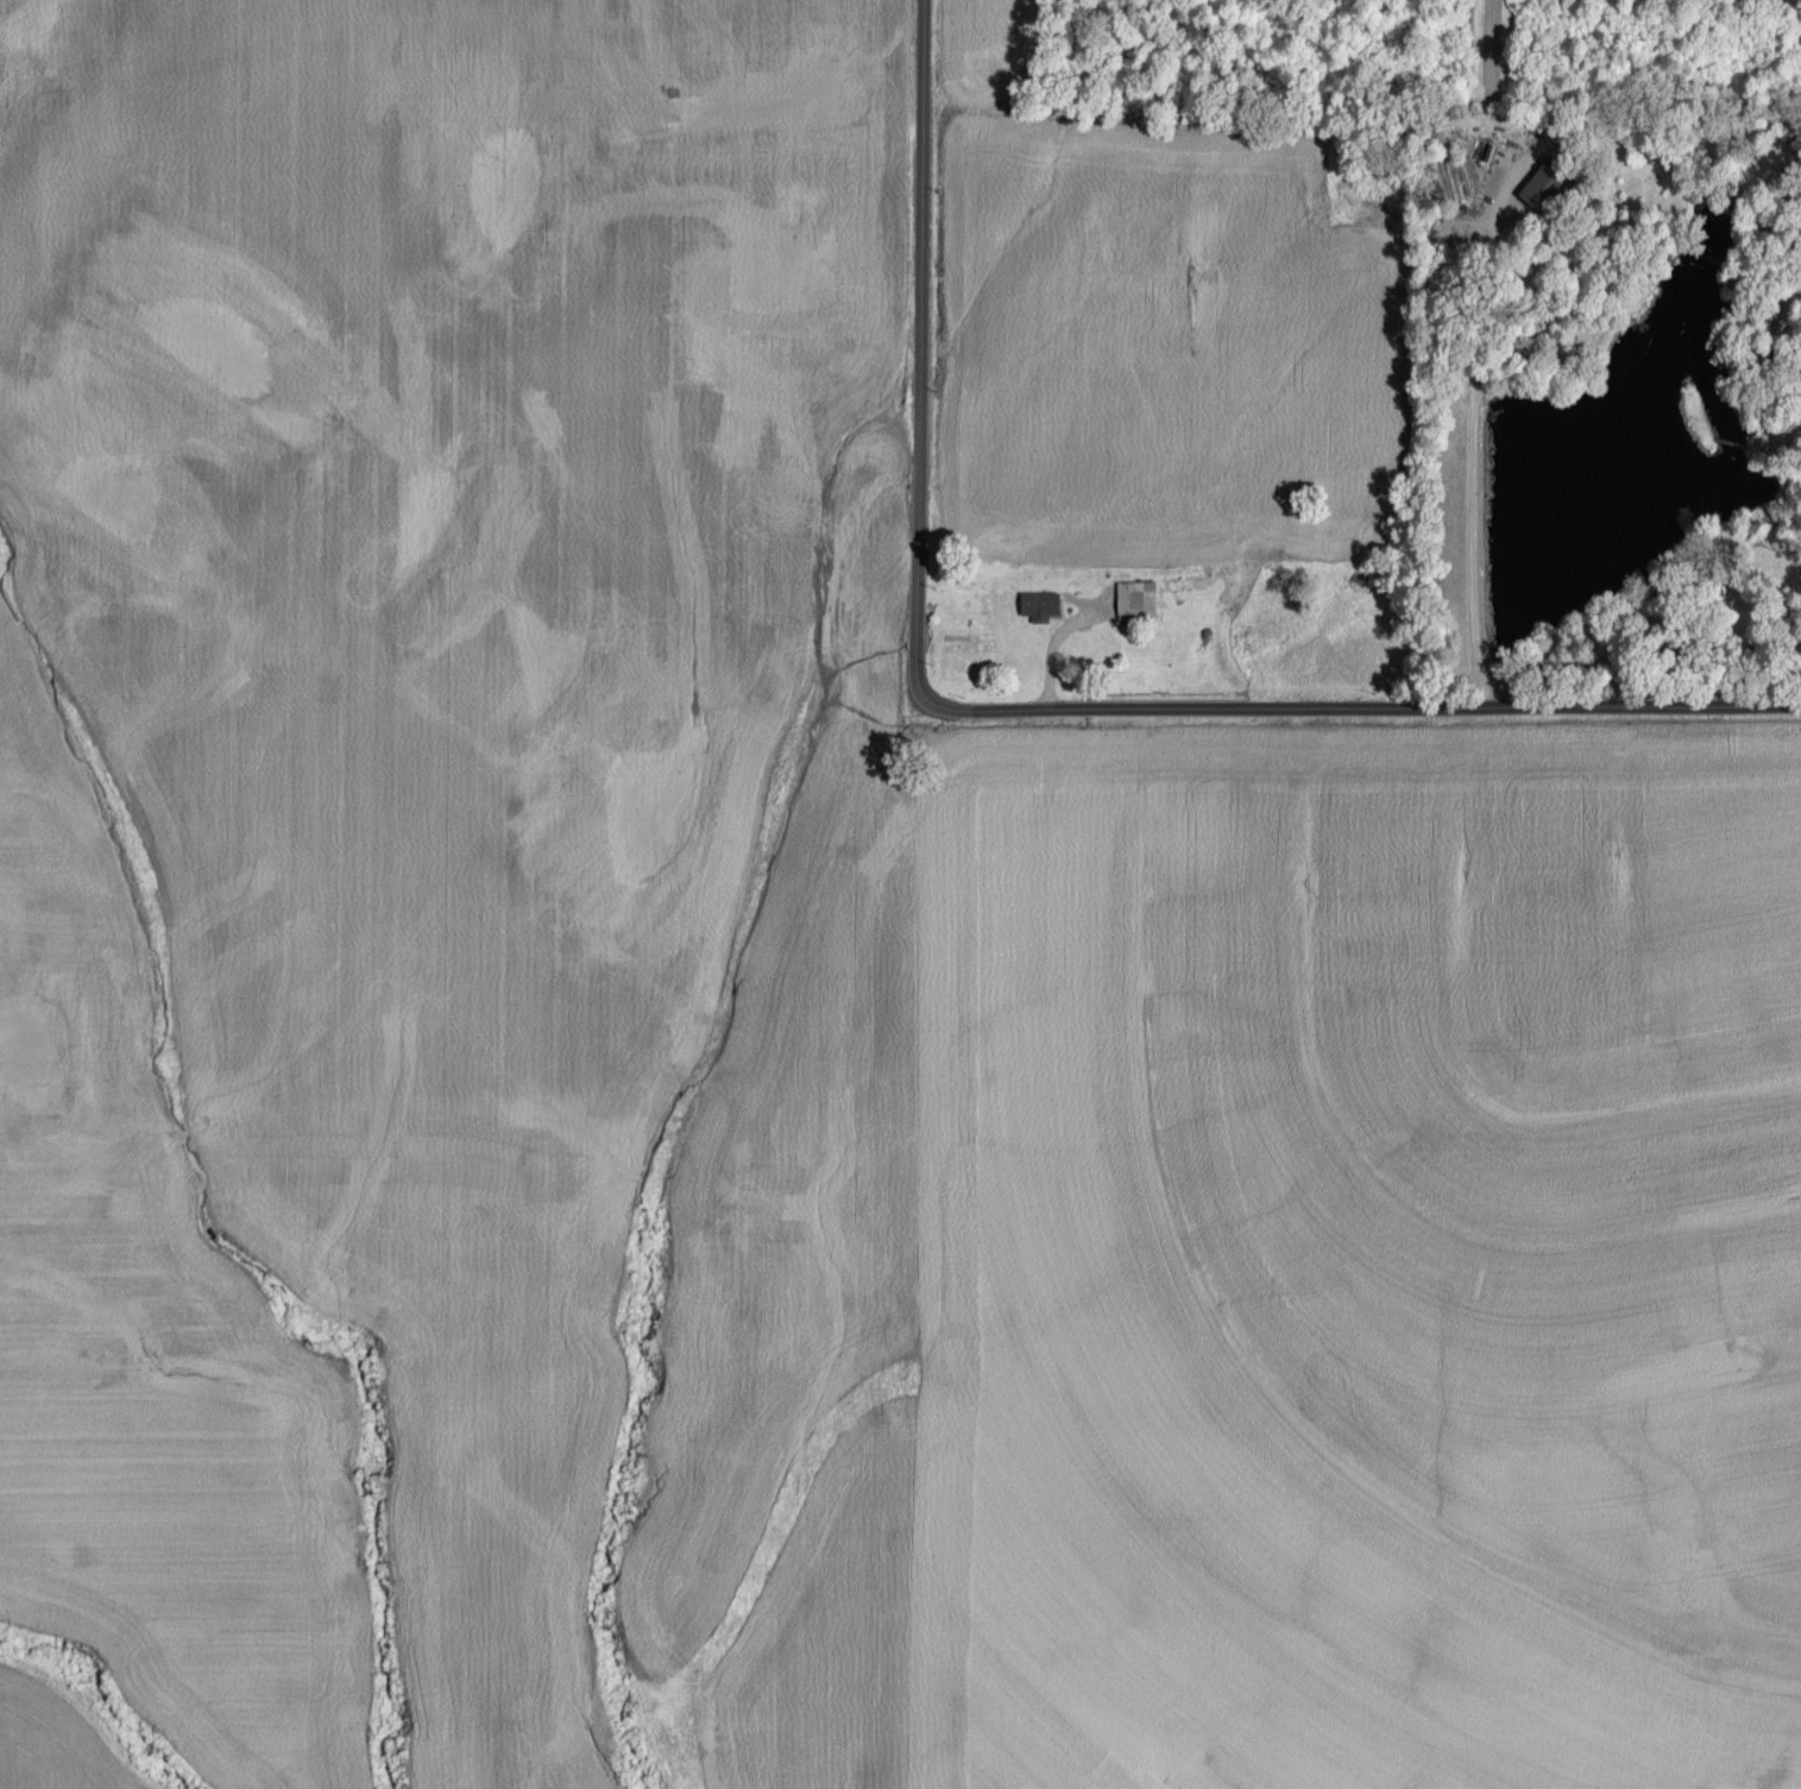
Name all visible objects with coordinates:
road: (1657, 133)
building: (1541, 188)
road: (907, 346)
road: (1478, 436)
building: (1134, 603)
building: (1038, 606)
road: (1039, 670)
road: (1355, 710)

